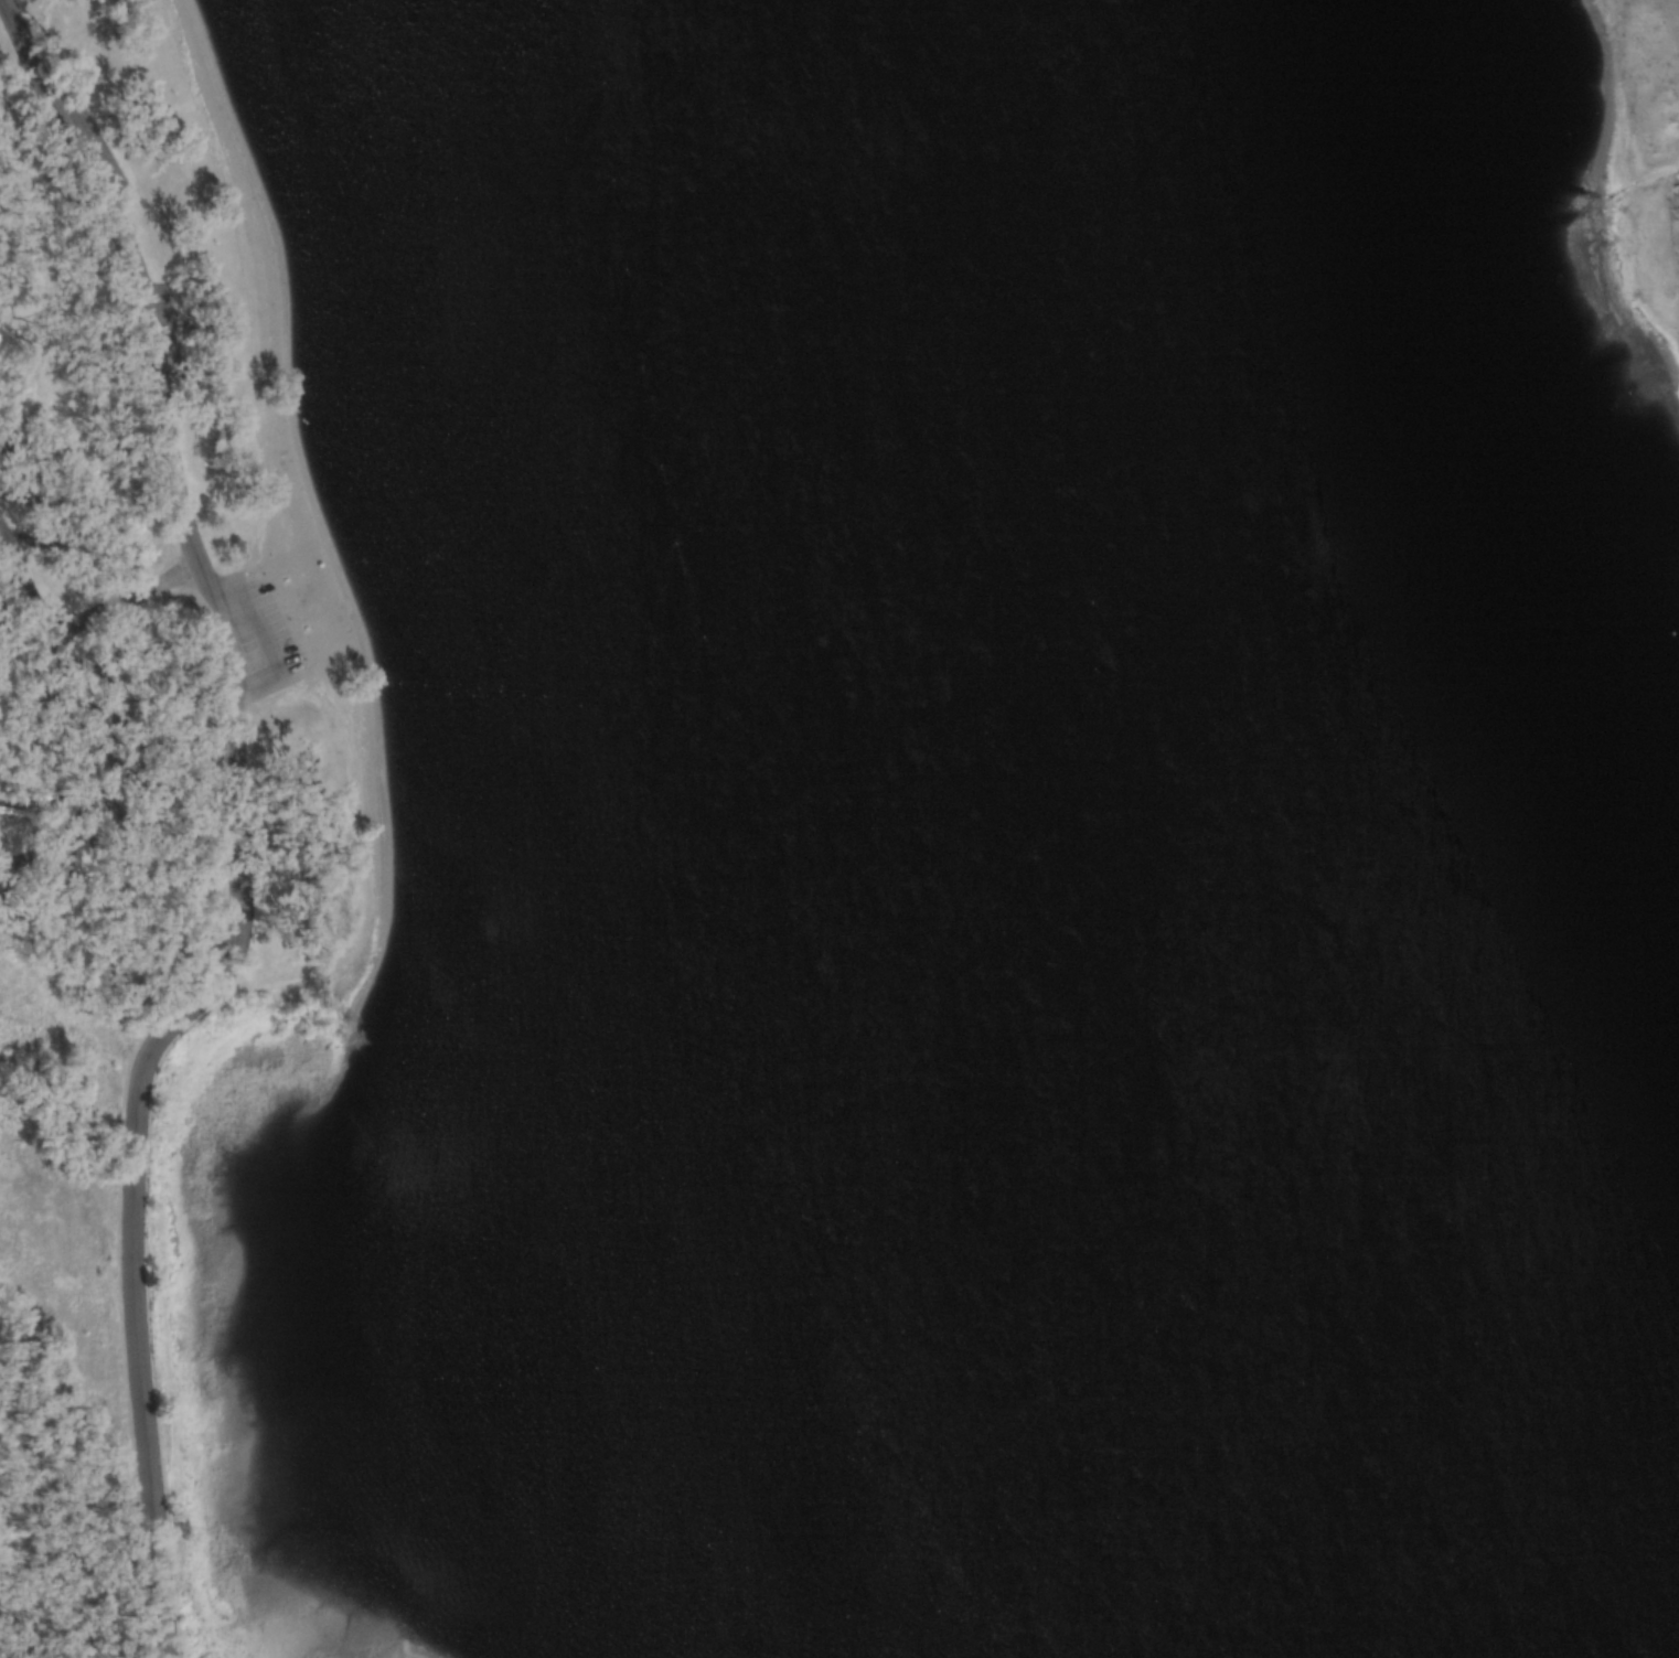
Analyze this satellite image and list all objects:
road: (124, 598)
road: (66, 715)
road: (237, 824)
river: (1387, 824)

